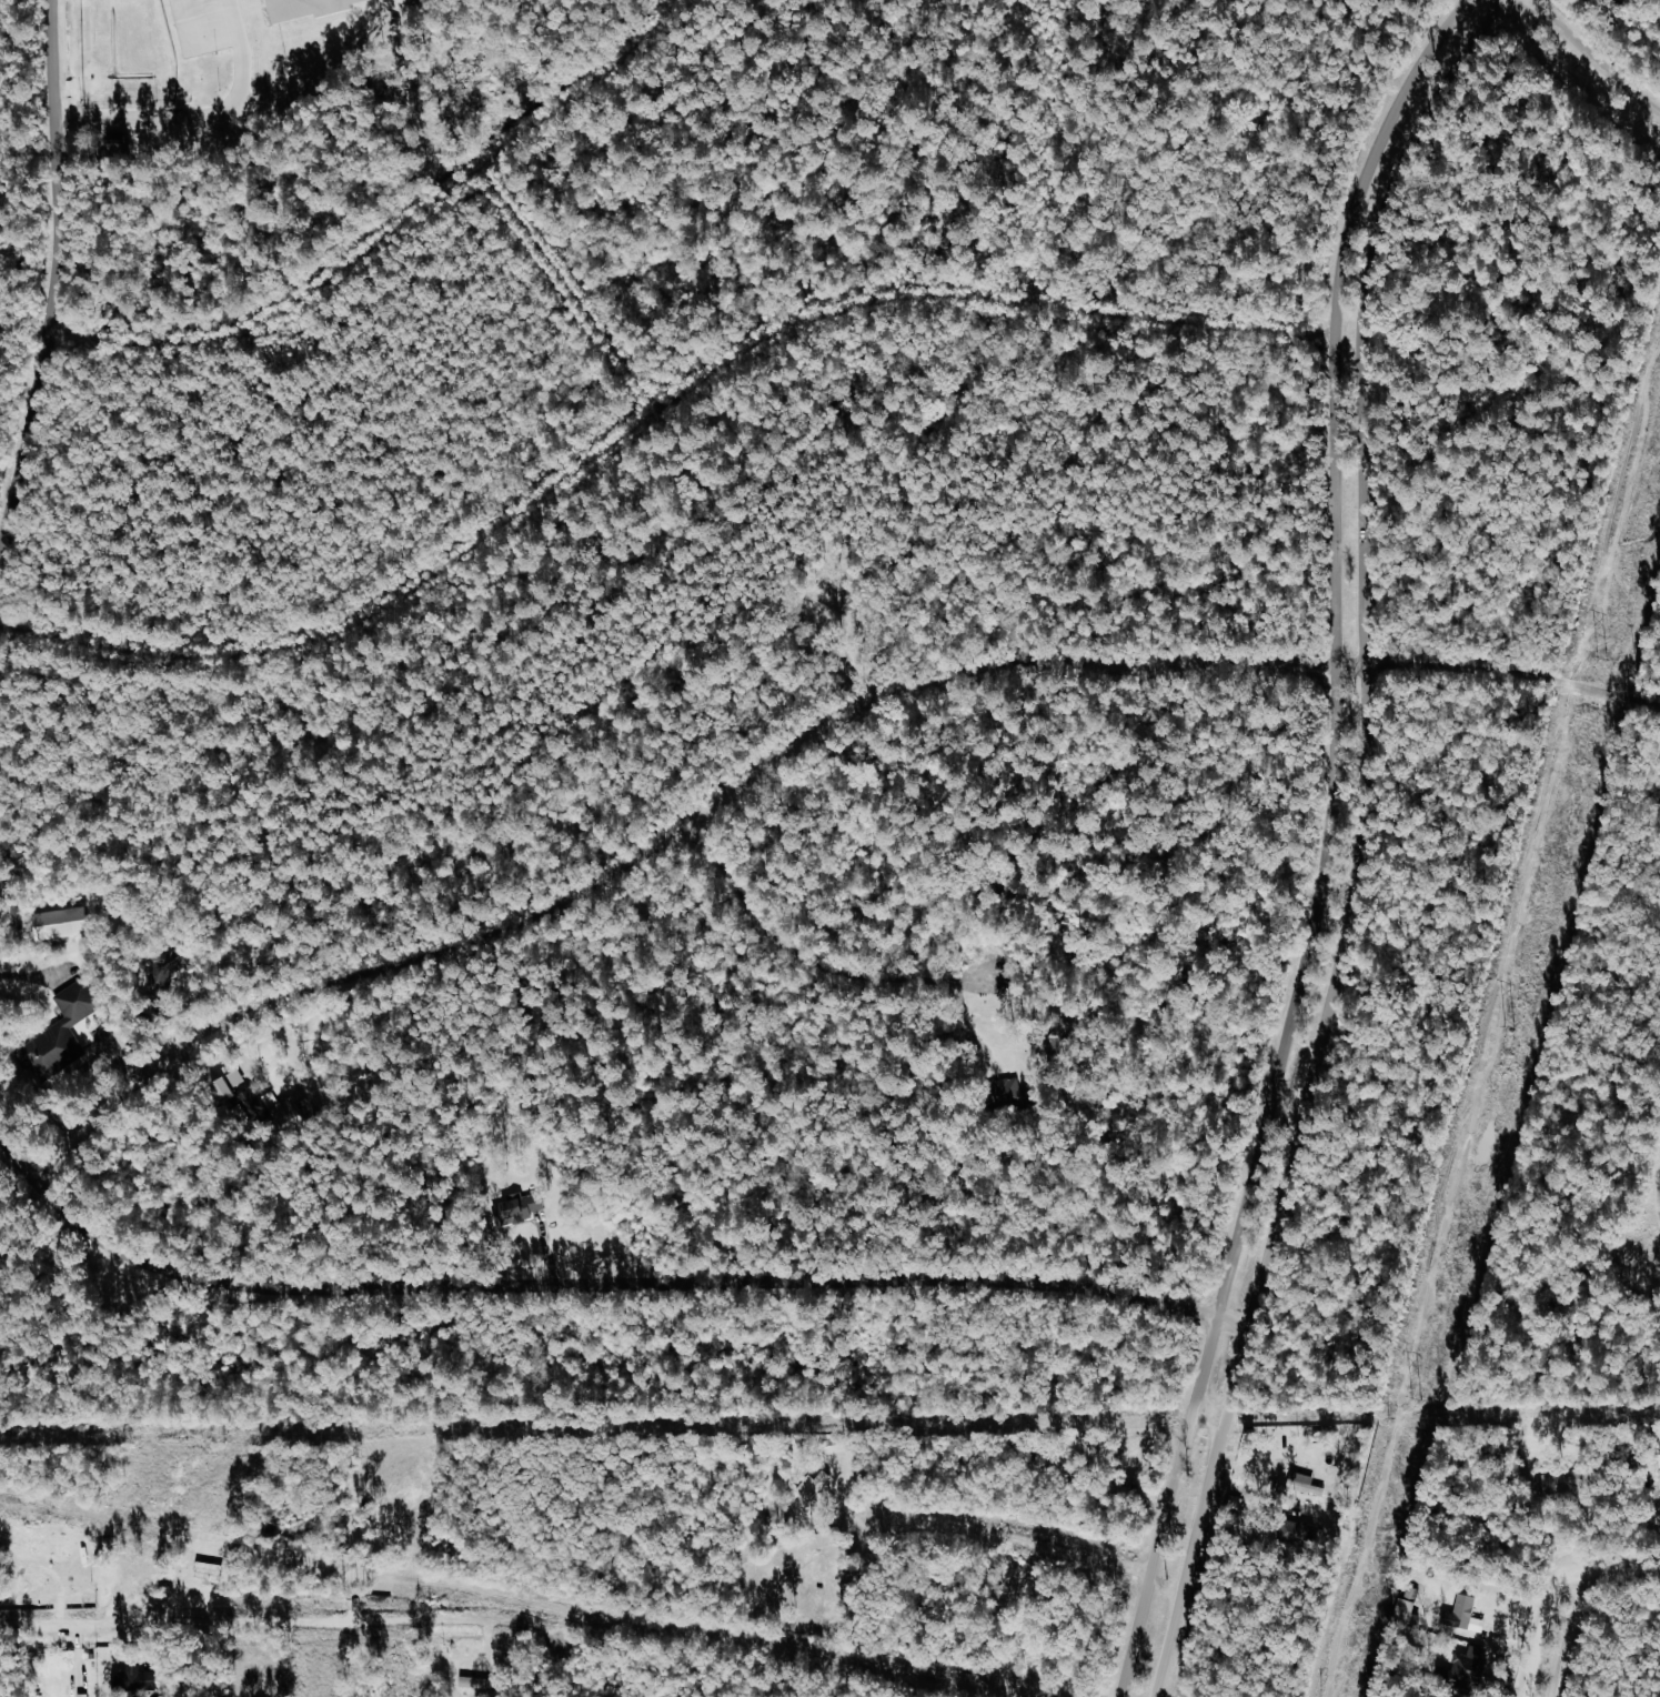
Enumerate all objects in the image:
building: (308, 9)
road: (232, 20)
road: (189, 48)
road: (1597, 57)
road: (335, 70)
road: (181, 121)
road: (1043, 151)
road: (386, 238)
road: (49, 284)
road: (570, 289)
road: (647, 418)
power tower: (1600, 660)
road: (792, 743)
road: (1360, 842)
road: (1325, 843)
building: (61, 921)
road: (807, 957)
building: (169, 965)
power tower: (1507, 1030)
building: (58, 1031)
building: (1056, 1038)
road: (67, 1068)
building: (225, 1085)
building: (1005, 1092)
building: (252, 1102)
building: (283, 1108)
building: (513, 1207)
road: (604, 1284)
power tower: (1418, 1398)
building: (834, 1445)
building: (1307, 1484)
building: (813, 1485)
building: (1302, 1535)
road: (1014, 1538)
road: (1612, 1568)
building: (210, 1570)
building: (1408, 1608)
building: (1463, 1613)
road: (283, 1623)
road: (1541, 1631)
road: (1577, 1633)
building: (137, 1679)
building: (84, 1695)

